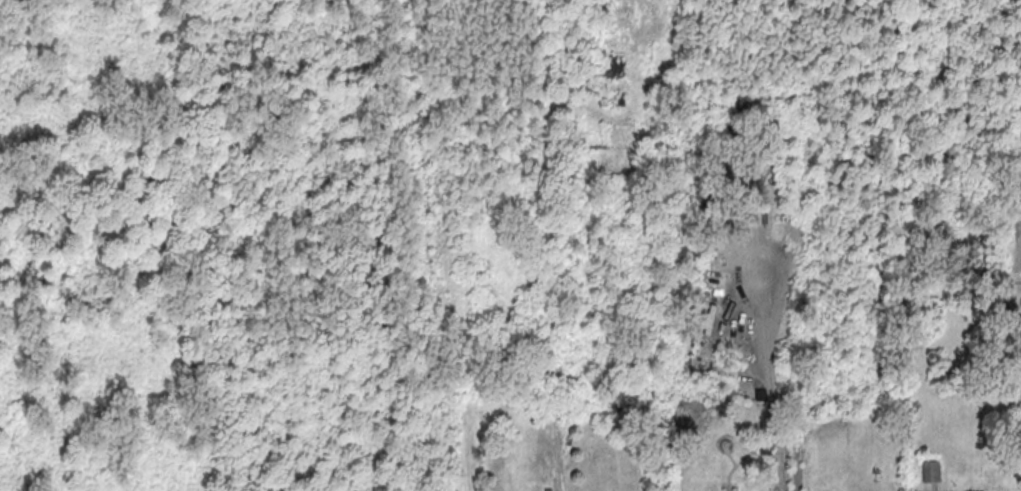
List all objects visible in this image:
building: (616, 66)
road: (777, 402)
building: (931, 470)

